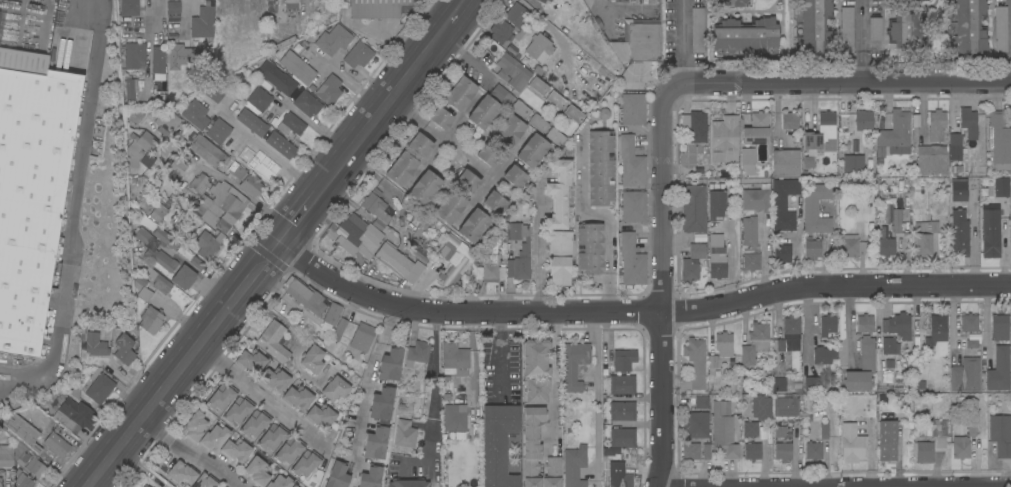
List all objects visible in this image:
building: (5, 0)
building: (549, 0)
building: (555, 0)
building: (908, 0)
building: (542, 1)
road: (162, 3)
building: (734, 3)
building: (262, 6)
building: (290, 6)
building: (173, 7)
building: (234, 7)
building: (129, 8)
building: (378, 8)
road: (308, 10)
building: (517, 15)
building: (257, 22)
building: (202, 23)
road: (858, 25)
building: (221, 27)
building: (813, 27)
building: (966, 27)
building: (846, 29)
building: (875, 29)
building: (1000, 29)
building: (697, 30)
building: (907, 31)
road: (685, 32)
building: (501, 33)
building: (745, 37)
building: (333, 40)
building: (638, 41)
building: (282, 44)
building: (542, 44)
building: (134, 54)
building: (358, 55)
building: (180, 57)
road: (465, 59)
building: (158, 63)
road: (859, 66)
building: (297, 68)
building: (512, 72)
road: (687, 74)
building: (234, 78)
building: (277, 78)
road: (838, 82)
building: (538, 86)
building: (130, 87)
building: (329, 90)
building: (460, 94)
building: (501, 95)
building: (259, 99)
building: (555, 100)
building: (306, 104)
building: (632, 108)
building: (520, 109)
building: (483, 112)
building: (573, 113)
building: (133, 114)
building: (441, 118)
building: (165, 120)
building: (936, 120)
building: (694, 121)
building: (790, 121)
building: (863, 121)
building: (206, 122)
building: (537, 123)
building: (291, 124)
building: (257, 125)
building: (509, 132)
building: (962, 133)
building: (758, 134)
building: (896, 134)
road: (436, 135)
building: (555, 137)
building: (820, 137)
building: (999, 140)
building: (725, 141)
building: (141, 143)
building: (280, 144)
building: (420, 144)
building: (206, 150)
building: (532, 151)
road: (270, 152)
building: (488, 155)
building: (880, 155)
building: (930, 155)
building: (747, 158)
building: (146, 160)
building: (853, 163)
building: (630, 164)
building: (786, 164)
building: (259, 165)
building: (174, 167)
building: (401, 169)
building: (600, 169)
road: (218, 175)
building: (515, 177)
building: (246, 181)
building: (467, 181)
building: (200, 183)
building: (424, 187)
building: (1001, 187)
building: (31, 190)
building: (959, 190)
building: (558, 194)
road: (76, 197)
building: (755, 200)
building: (716, 202)
building: (495, 203)
building: (783, 204)
building: (220, 207)
building: (450, 207)
building: (633, 207)
building: (693, 208)
building: (815, 209)
building: (376, 210)
building: (158, 213)
building: (461, 215)
building: (896, 221)
road: (607, 223)
building: (473, 226)
building: (929, 226)
building: (858, 227)
building: (959, 233)
building: (749, 234)
building: (991, 234)
building: (358, 235)
building: (885, 243)
building: (208, 244)
road: (278, 244)
building: (923, 244)
building: (849, 247)
building: (590, 248)
building: (812, 248)
building: (151, 250)
building: (519, 251)
building: (697, 251)
road: (538, 252)
building: (782, 253)
building: (716, 257)
building: (560, 259)
building: (454, 261)
building: (631, 261)
building: (399, 262)
building: (751, 262)
building: (489, 268)
building: (689, 271)
building: (183, 277)
building: (159, 282)
road: (663, 285)
building: (143, 289)
building: (305, 296)
road: (638, 313)
building: (331, 314)
building: (151, 320)
building: (969, 322)
building: (864, 323)
building: (897, 325)
building: (828, 326)
building: (999, 327)
building: (938, 328)
building: (338, 329)
building: (788, 334)
building: (362, 338)
building: (273, 342)
building: (754, 343)
building: (971, 343)
building: (723, 344)
building: (95, 345)
building: (890, 346)
building: (124, 350)
building: (417, 353)
building: (824, 355)
road: (500, 356)
building: (534, 357)
building: (312, 360)
building: (454, 360)
building: (623, 360)
parking lot: (8, 361)
building: (251, 361)
building: (711, 361)
building: (695, 362)
building: (391, 364)
building: (574, 365)
building: (862, 368)
building: (998, 372)
road: (433, 374)
building: (808, 374)
building: (965, 375)
road: (552, 376)
road: (7, 377)
road: (366, 378)
building: (274, 380)
road: (7, 381)
building: (622, 384)
building: (778, 384)
building: (99, 388)
building: (335, 389)
building: (536, 391)
road: (596, 394)
building: (222, 396)
road: (263, 396)
building: (297, 397)
building: (382, 403)
building: (787, 406)
building: (761, 408)
building: (238, 410)
building: (622, 411)
building: (73, 415)
building: (320, 416)
building: (454, 418)
building: (696, 420)
building: (255, 423)
building: (194, 427)
building: (824, 429)
building: (723, 430)
building: (781, 431)
building: (20, 432)
building: (405, 434)
building: (1000, 435)
building: (272, 437)
building: (214, 438)
building: (622, 438)
building: (887, 440)
building: (751, 441)
building: (931, 441)
building: (375, 442)
building: (56, 444)
building: (498, 444)
building: (853, 444)
building: (531, 446)
building: (961, 448)
building: (235, 450)
building: (289, 450)
building: (813, 450)
road: (191, 451)
building: (783, 451)
building: (690, 452)
building: (706, 452)
building: (6, 456)
building: (27, 460)
building: (306, 463)
building: (574, 466)
building: (258, 471)
building: (552, 472)
building: (182, 474)
building: (337, 475)
building: (619, 475)
building: (371, 476)
building: (23, 481)
building: (204, 481)
building: (0, 482)
building: (280, 482)
building: (408, 483)
building: (147, 486)
building: (294, 486)
road: (833, 486)
road: (883, 486)

